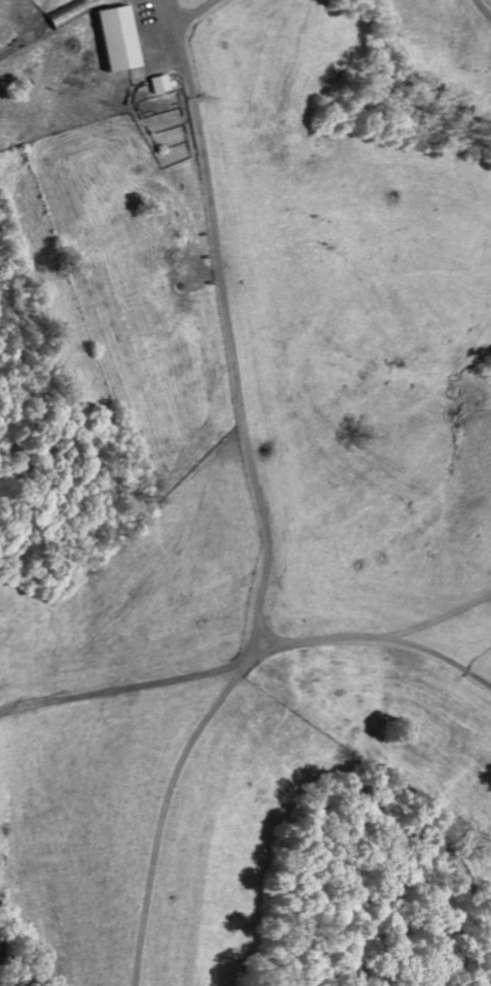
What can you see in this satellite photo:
road: (481, 11)
road: (198, 12)
building: (70, 15)
road: (43, 36)
building: (121, 41)
building: (162, 85)
road: (237, 316)
road: (443, 651)
road: (246, 652)
road: (167, 794)

